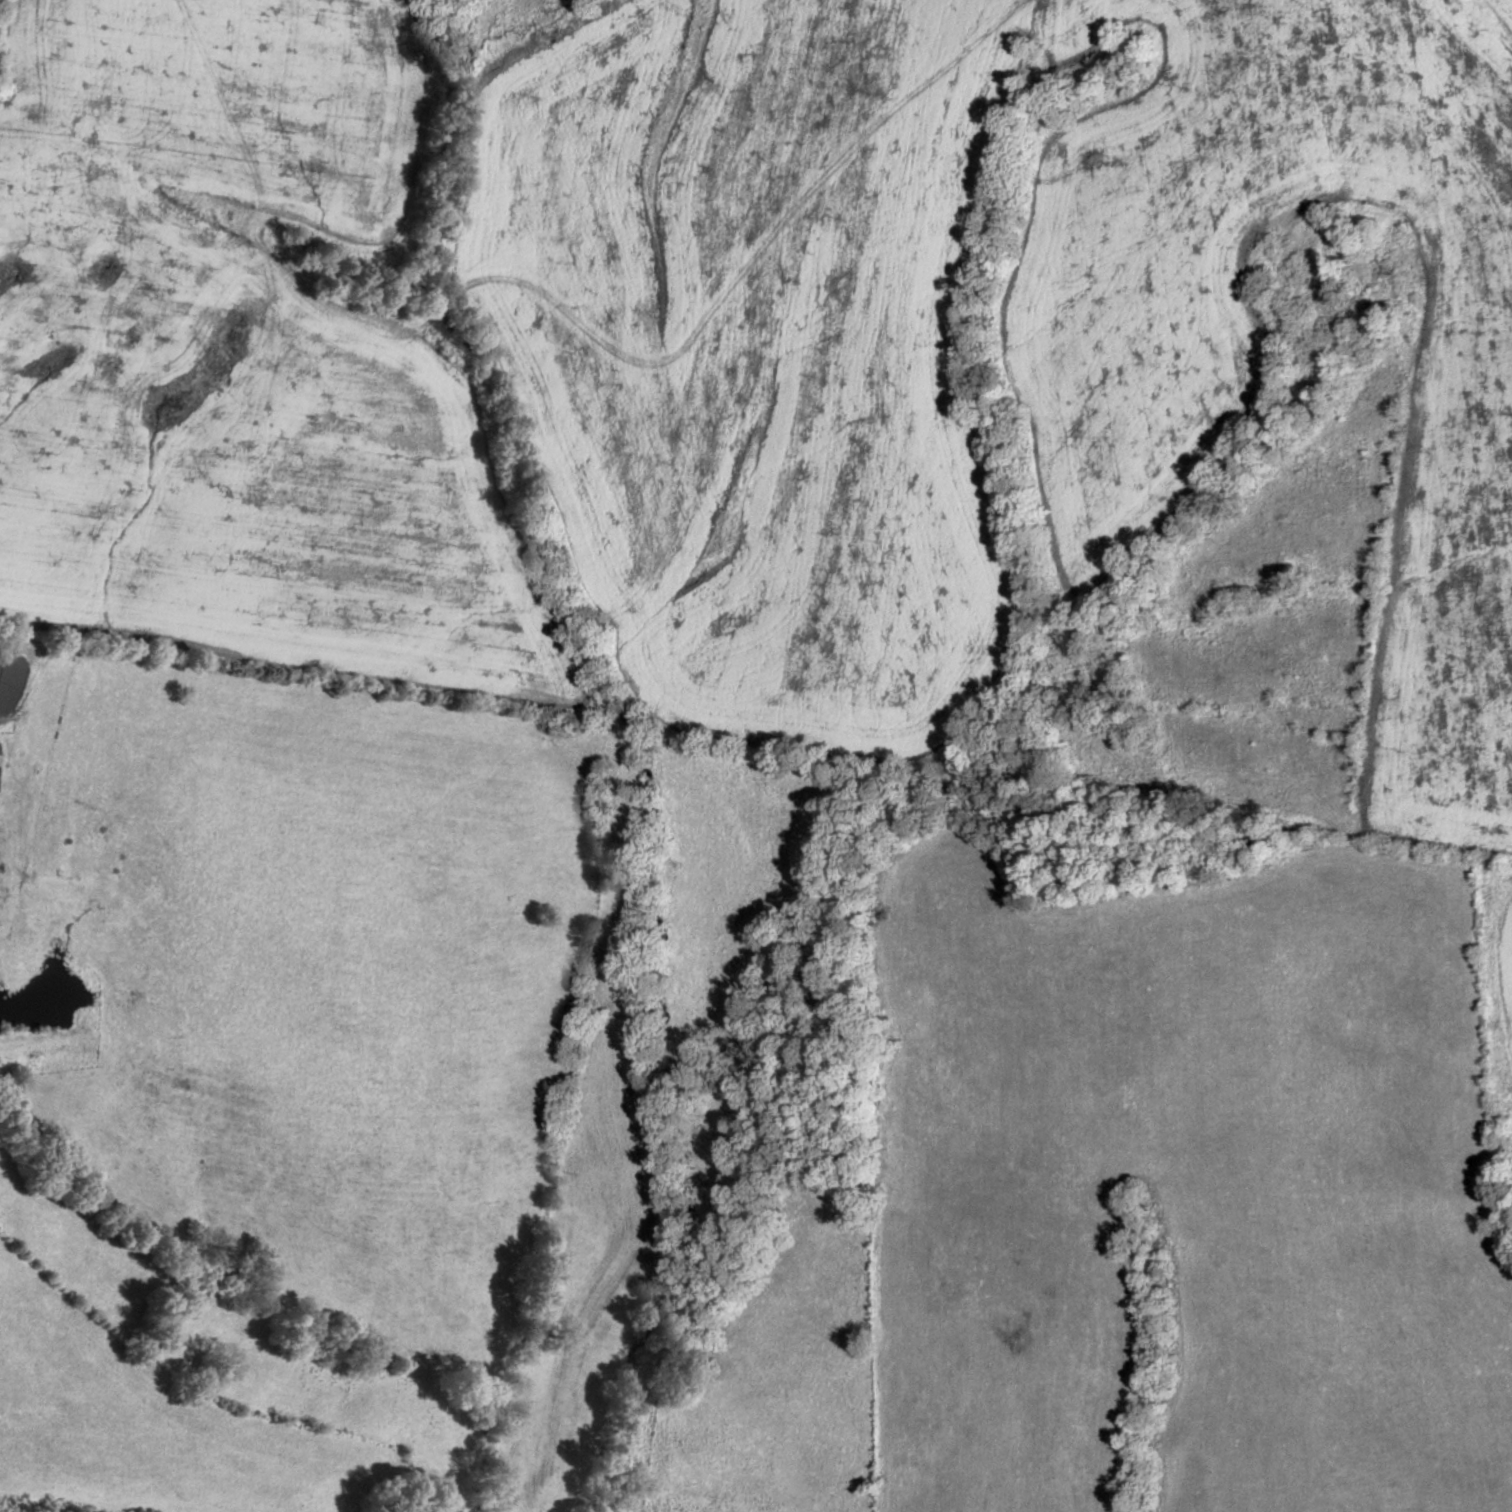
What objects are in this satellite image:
building: (1, 763)

